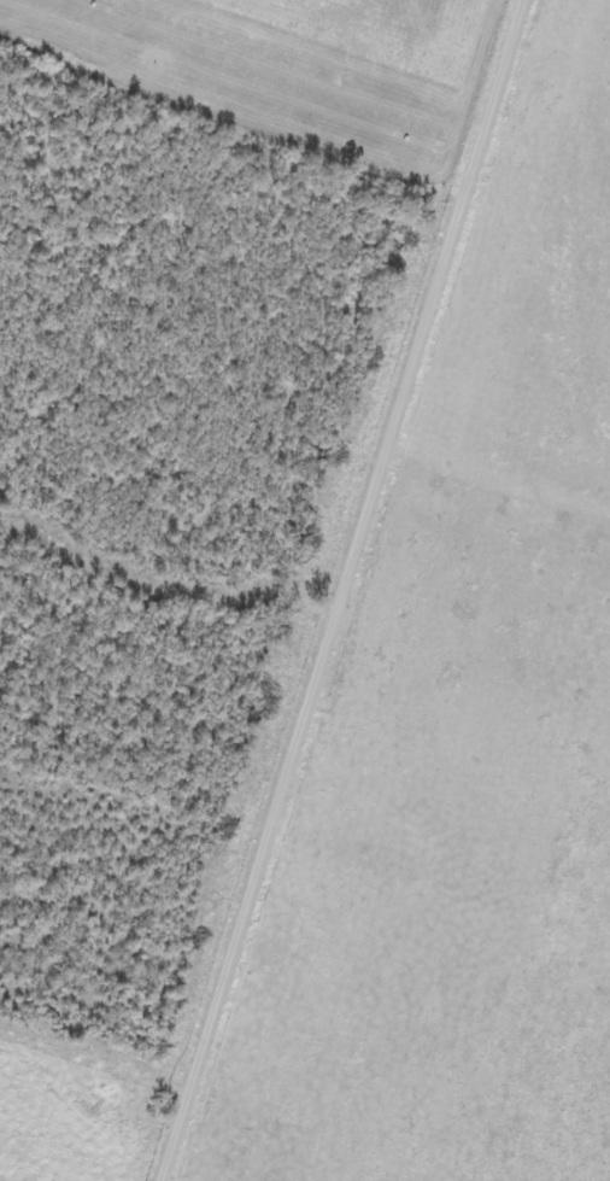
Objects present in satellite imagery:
road: (371, 590)

